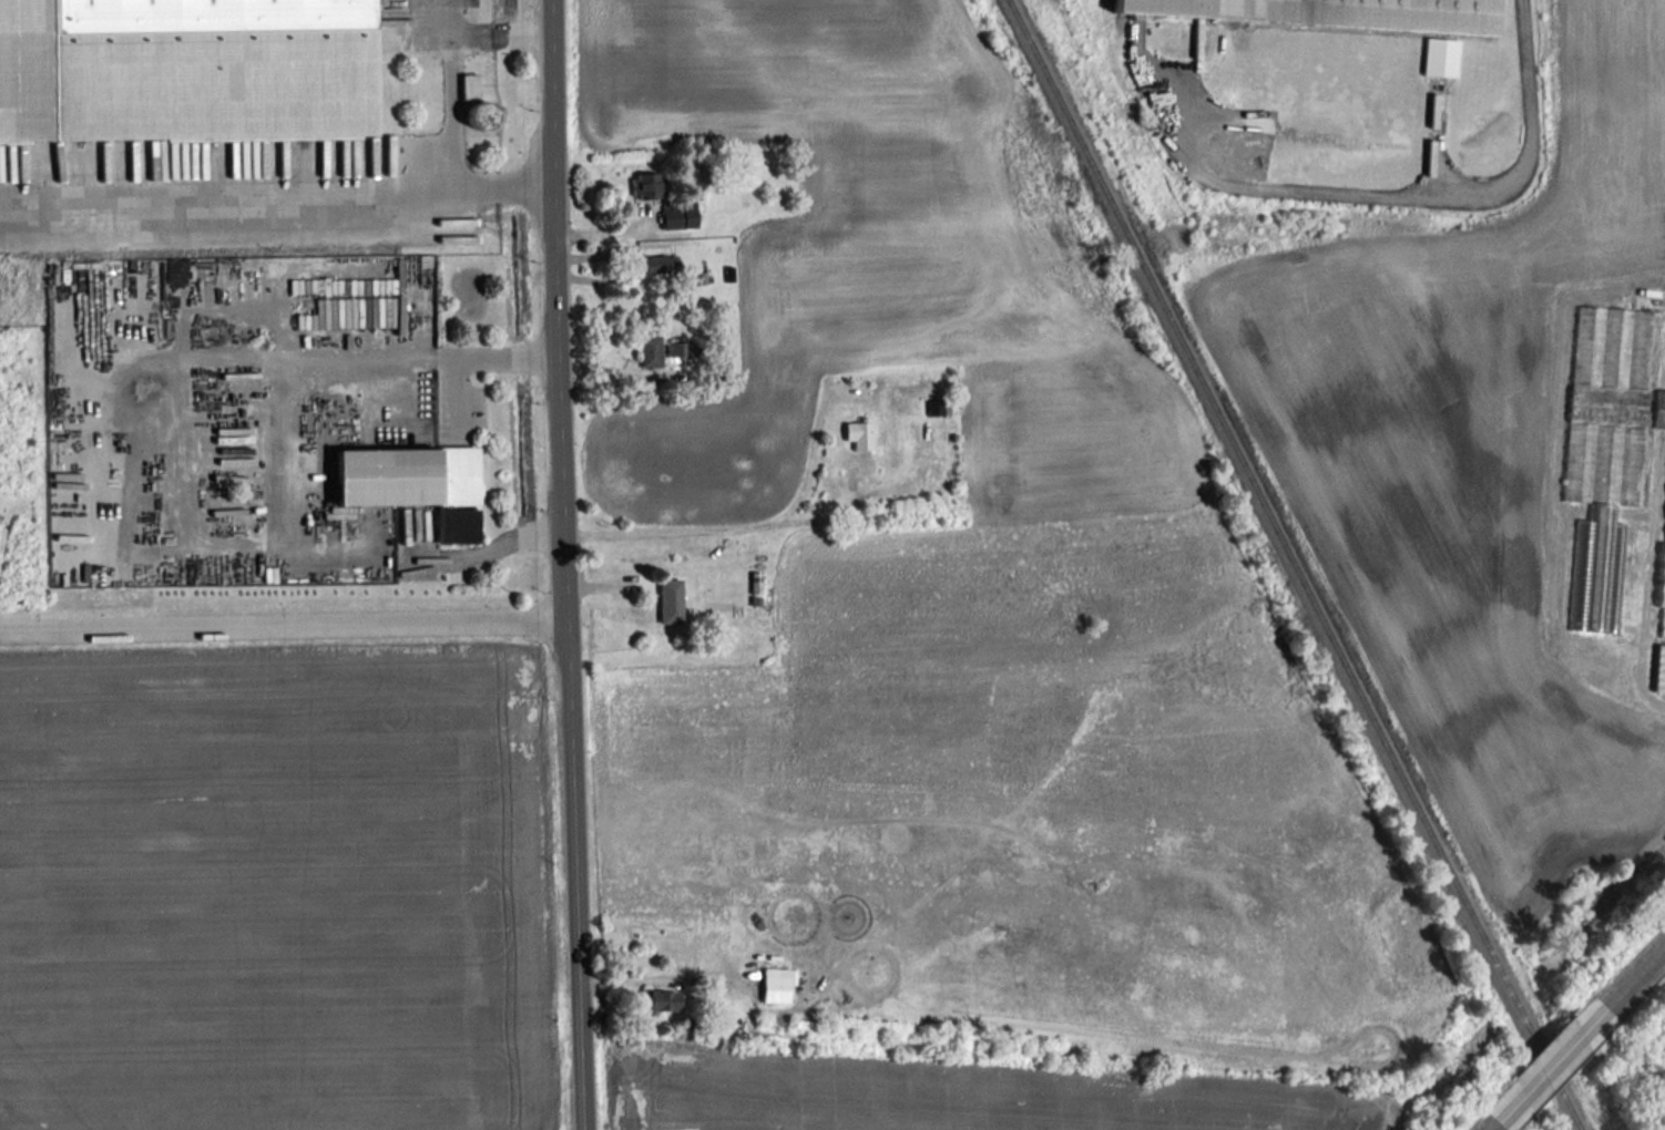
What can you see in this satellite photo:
building: (1332, 12)
road: (452, 20)
building: (1439, 55)
building: (185, 69)
building: (470, 85)
building: (480, 114)
building: (644, 185)
road: (353, 196)
road: (1395, 199)
building: (678, 215)
building: (656, 264)
building: (662, 349)
building: (933, 405)
building: (859, 433)
building: (1608, 451)
road: (297, 461)
building: (415, 483)
road: (758, 523)
road: (570, 565)
railway: (1295, 565)
building: (1662, 589)
building: (670, 600)
road: (286, 609)
building: (1659, 668)
road: (1632, 970)
building: (777, 983)
building: (662, 999)
road: (1544, 1065)
road: (1487, 1126)

